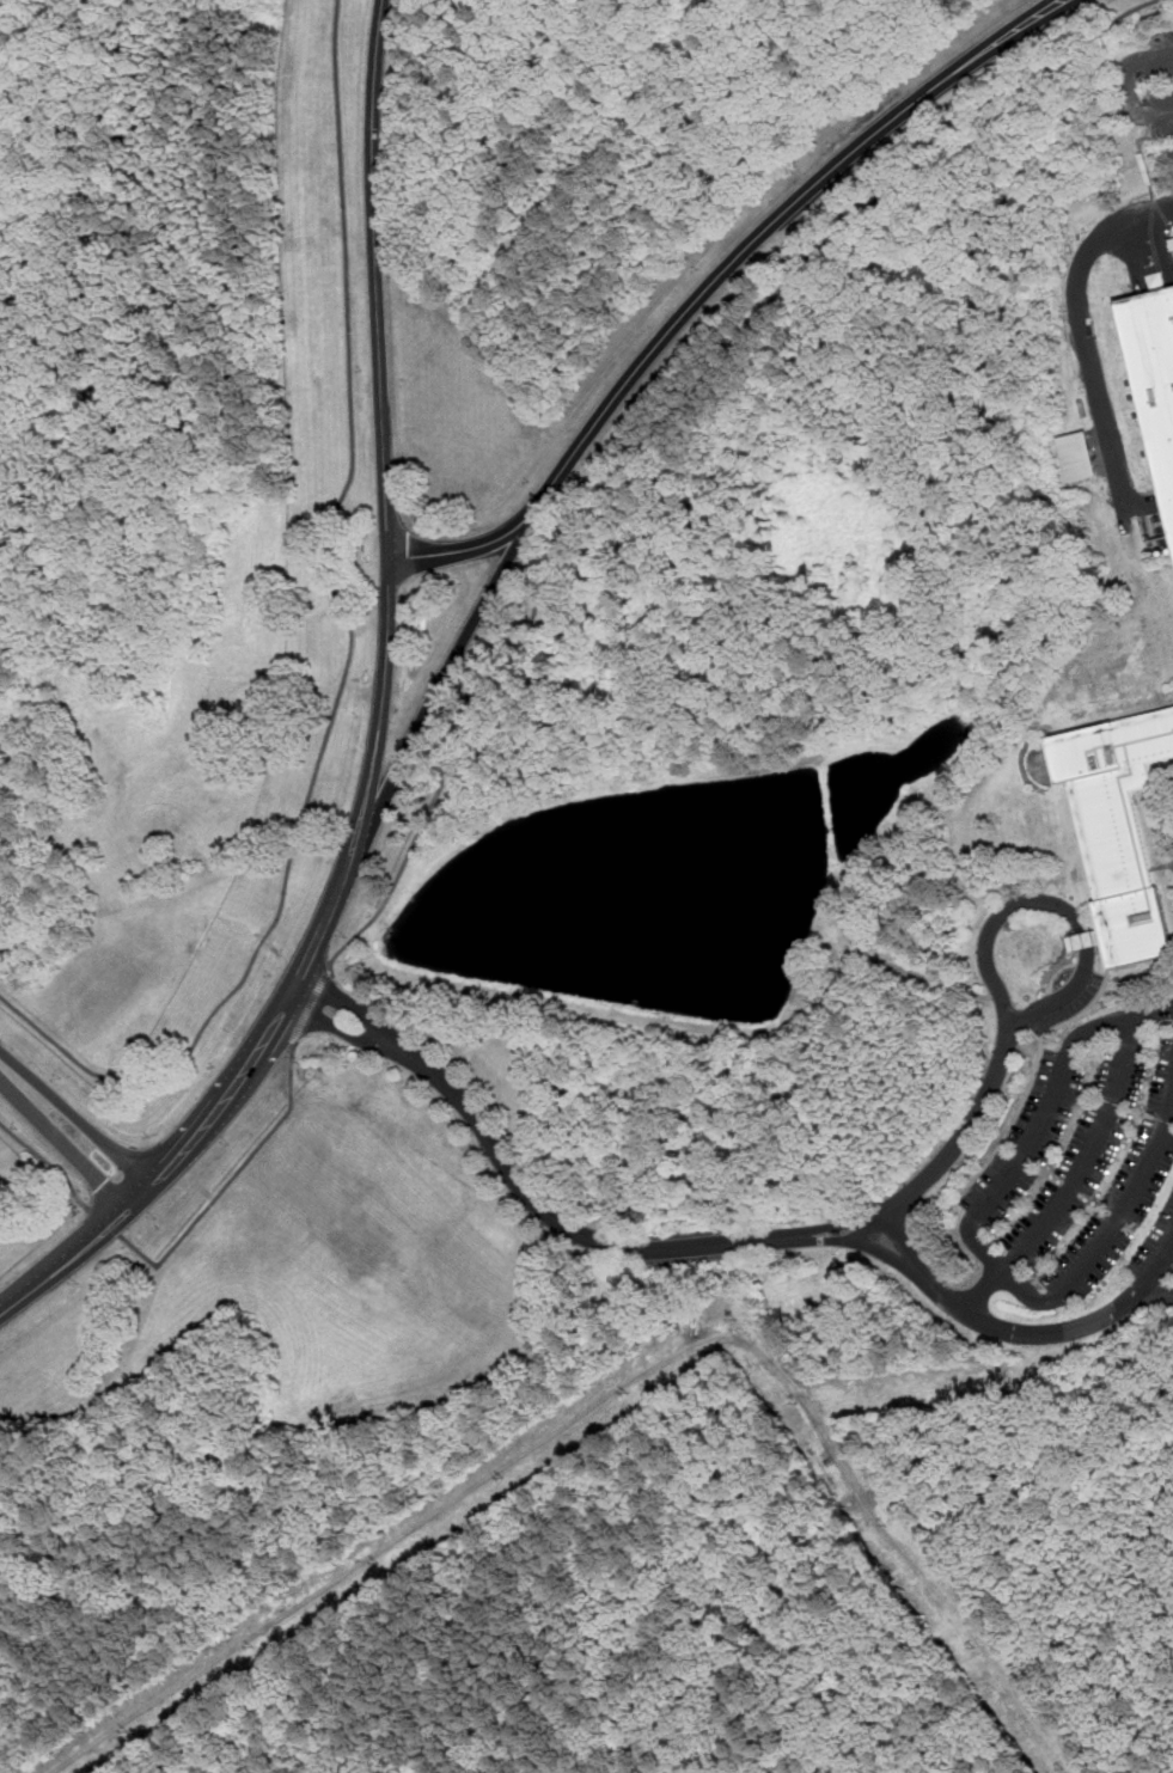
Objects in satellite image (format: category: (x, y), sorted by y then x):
road: (1118, 17)
road: (1021, 84)
road: (1128, 86)
road: (781, 213)
building: (1171, 244)
road: (1082, 334)
building: (1153, 381)
building: (1076, 458)
road: (593, 516)
road: (484, 544)
road: (350, 650)
road: (442, 678)
road: (380, 721)
building: (1116, 830)
building: (1083, 941)
road: (923, 976)
road: (349, 1003)
road: (311, 1004)
road: (1123, 1019)
road: (337, 1027)
road: (77, 1115)
road: (1033, 1137)
road: (63, 1144)
road: (1089, 1155)
road: (49, 1162)
road: (230, 1180)
road: (1124, 1206)
road: (888, 1211)
road: (105, 1221)
road: (902, 1240)
road: (876, 1248)
road: (1001, 1270)
road: (1024, 1290)
road: (1157, 1291)
road: (1052, 1333)

